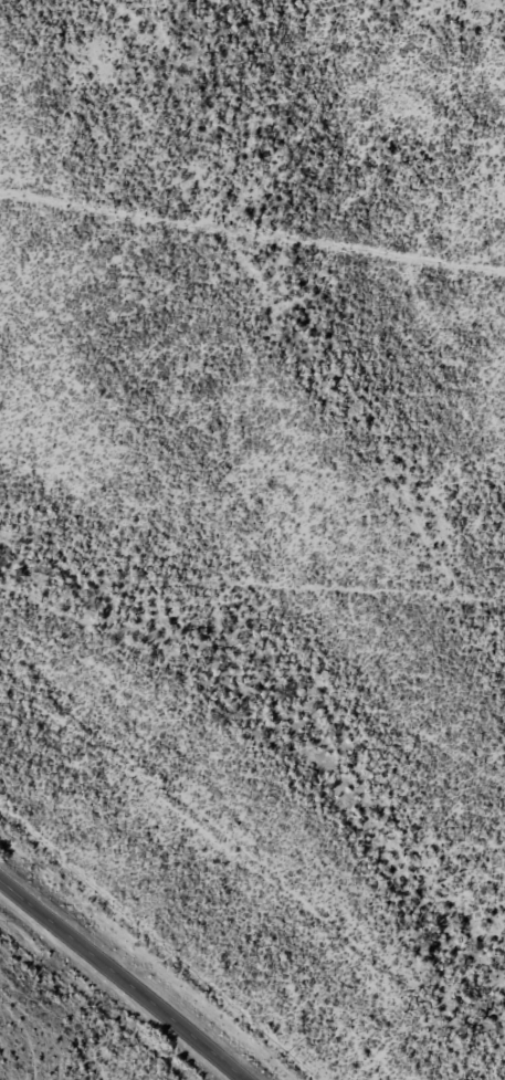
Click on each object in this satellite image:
road: (124, 978)

